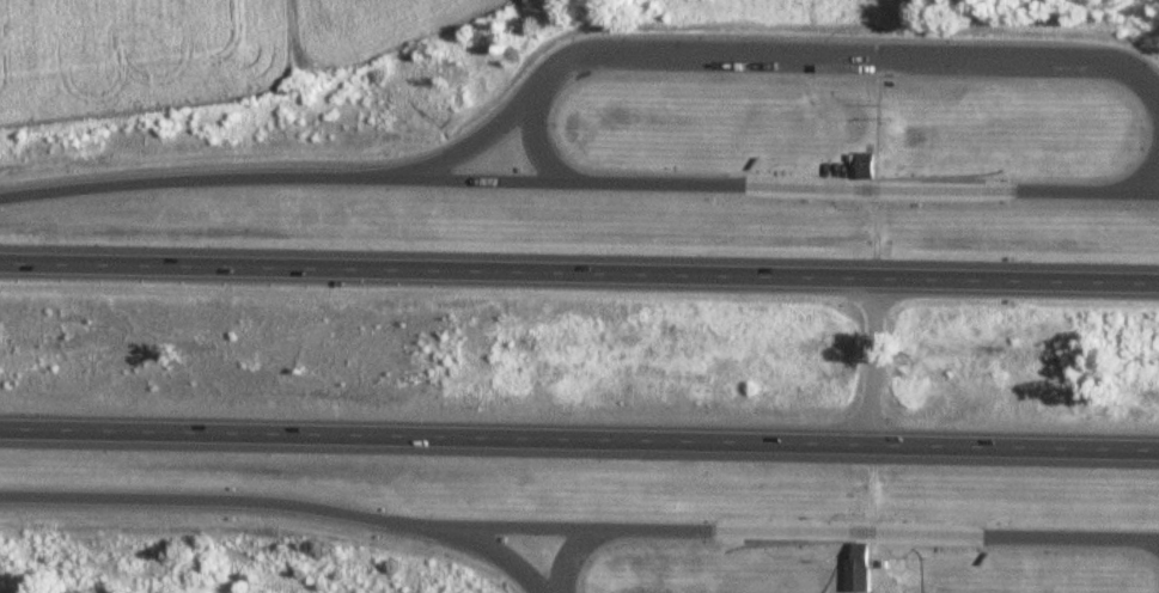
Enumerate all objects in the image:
road: (756, 49)
road: (543, 136)
building: (865, 165)
road: (1145, 167)
road: (190, 171)
road: (770, 183)
road: (579, 270)
road: (877, 359)
road: (579, 439)
road: (221, 500)
road: (798, 530)
road: (1158, 542)
road: (1158, 542)
road: (573, 554)
building: (860, 555)
road: (496, 556)

